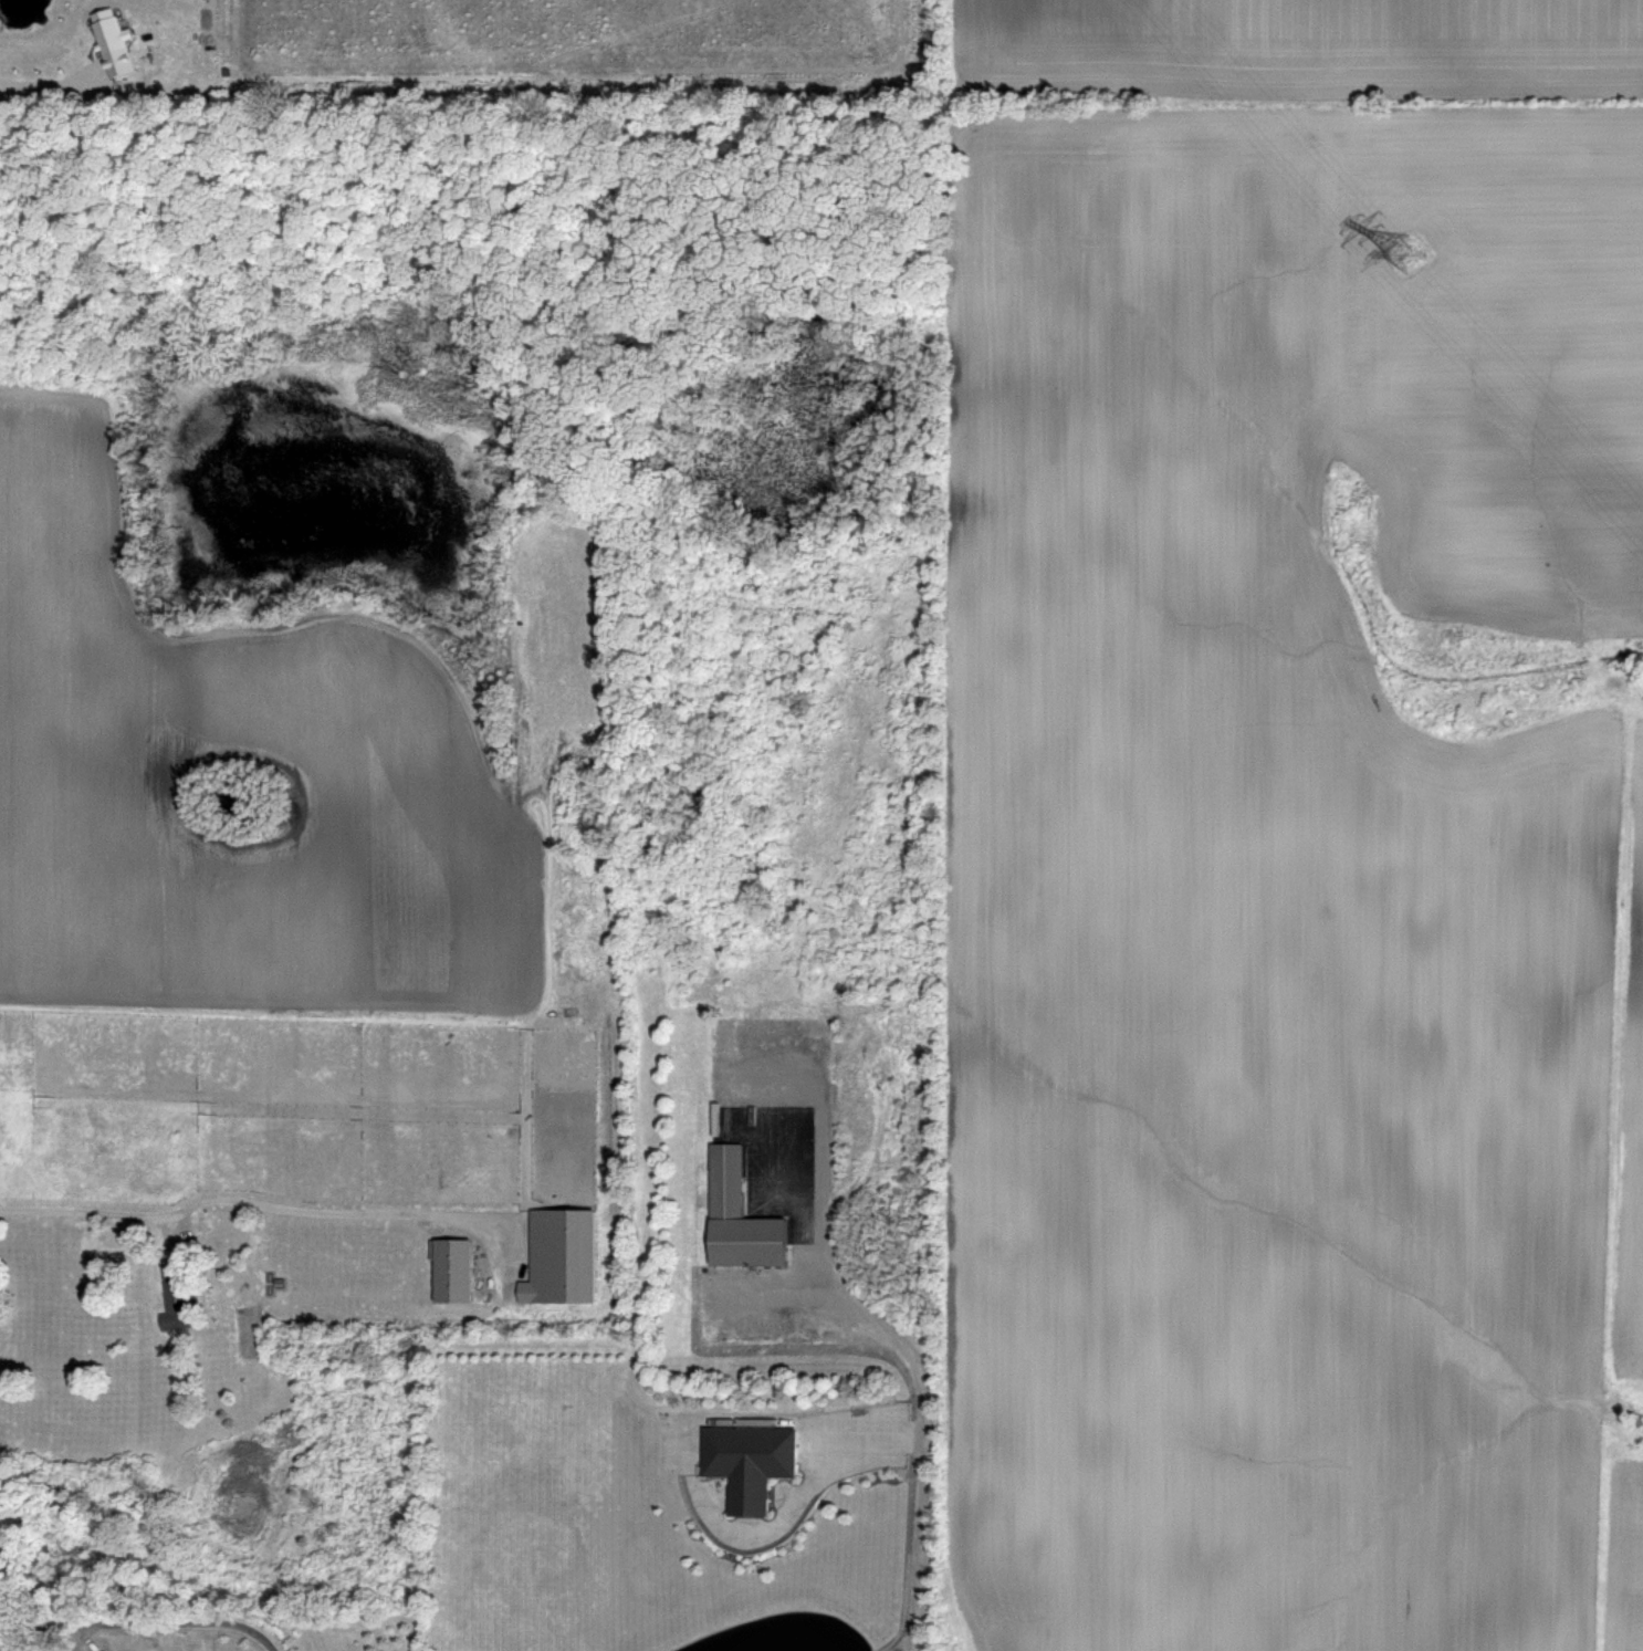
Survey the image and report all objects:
road: (56, 82)
power tower: (1406, 253)
building: (721, 1035)
road: (241, 1201)
building: (739, 1216)
building: (208, 1225)
building: (175, 1297)
road: (923, 1431)
building: (744, 1467)
road: (189, 1621)
road: (44, 1623)

